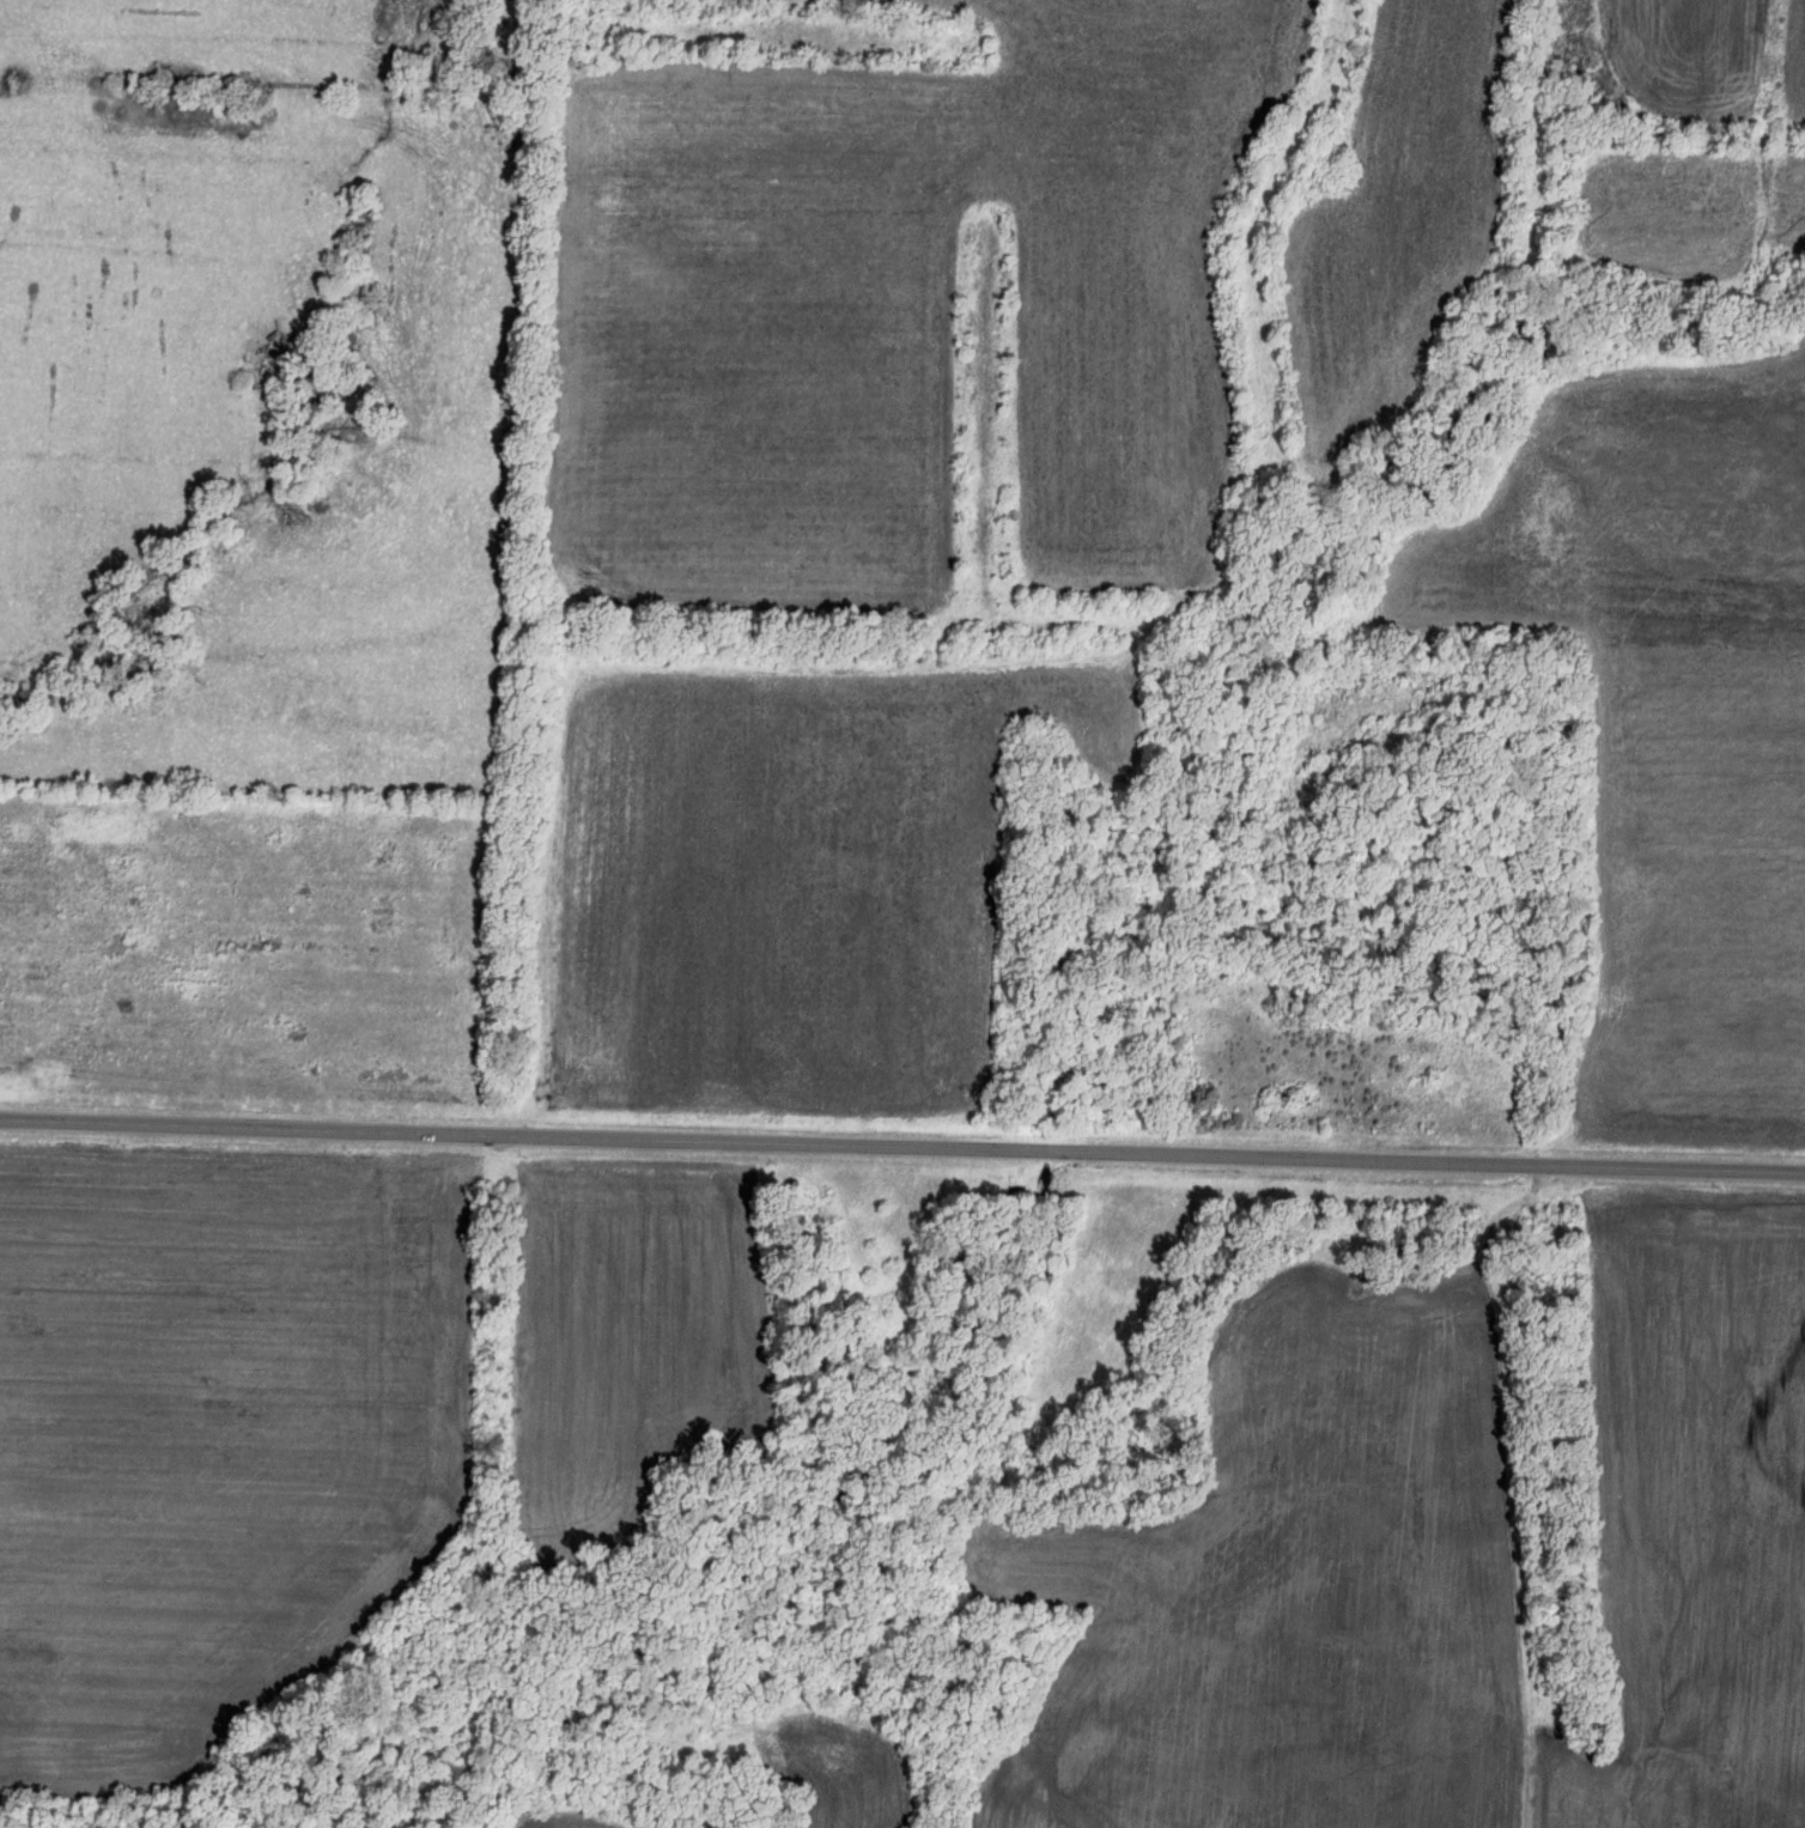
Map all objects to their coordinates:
road: (902, 1146)

